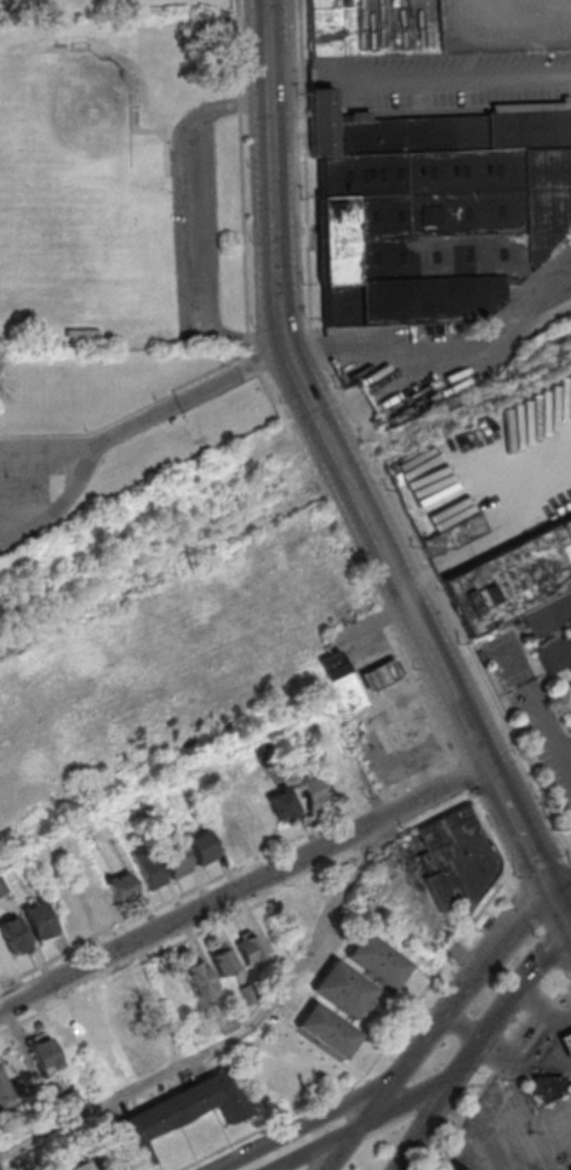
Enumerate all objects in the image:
building: (332, 28)
road: (268, 52)
building: (441, 67)
road: (419, 78)
park: (67, 143)
park: (119, 183)
building: (434, 209)
road: (194, 221)
parking lot: (195, 231)
road: (230, 375)
road: (421, 401)
road: (369, 441)
road: (47, 445)
road: (84, 465)
parking lot: (32, 471)
road: (364, 510)
building: (453, 536)
building: (513, 578)
building: (550, 630)
building: (381, 674)
building: (342, 682)
parking lot: (532, 715)
building: (338, 780)
road: (486, 788)
building: (312, 791)
building: (282, 805)
building: (229, 833)
building: (202, 847)
building: (458, 858)
building: (176, 862)
road: (238, 864)
road: (539, 867)
building: (148, 868)
building: (121, 886)
road: (564, 887)
building: (1, 888)
traffic signals: (558, 891)
road: (242, 892)
road: (564, 904)
road: (239, 913)
building: (40, 922)
road: (538, 928)
building: (13, 935)
building: (250, 947)
building: (1, 954)
building: (379, 960)
building: (223, 961)
road: (434, 975)
building: (199, 979)
road: (567, 983)
building: (343, 989)
road: (458, 994)
building: (145, 999)
road: (504, 999)
road: (541, 1005)
building: (121, 1020)
road: (461, 1027)
building: (97, 1029)
building: (331, 1032)
road: (530, 1032)
road: (230, 1036)
building: (70, 1040)
building: (567, 1045)
building: (44, 1053)
road: (523, 1058)
building: (552, 1087)
building: (5, 1092)
road: (411, 1094)
building: (178, 1115)
road: (424, 1123)
road: (269, 1124)
parking lot: (514, 1134)
road: (292, 1140)
road: (320, 1141)
road: (348, 1141)
building: (81, 1165)
building: (457, 1168)
building: (569, 1168)

